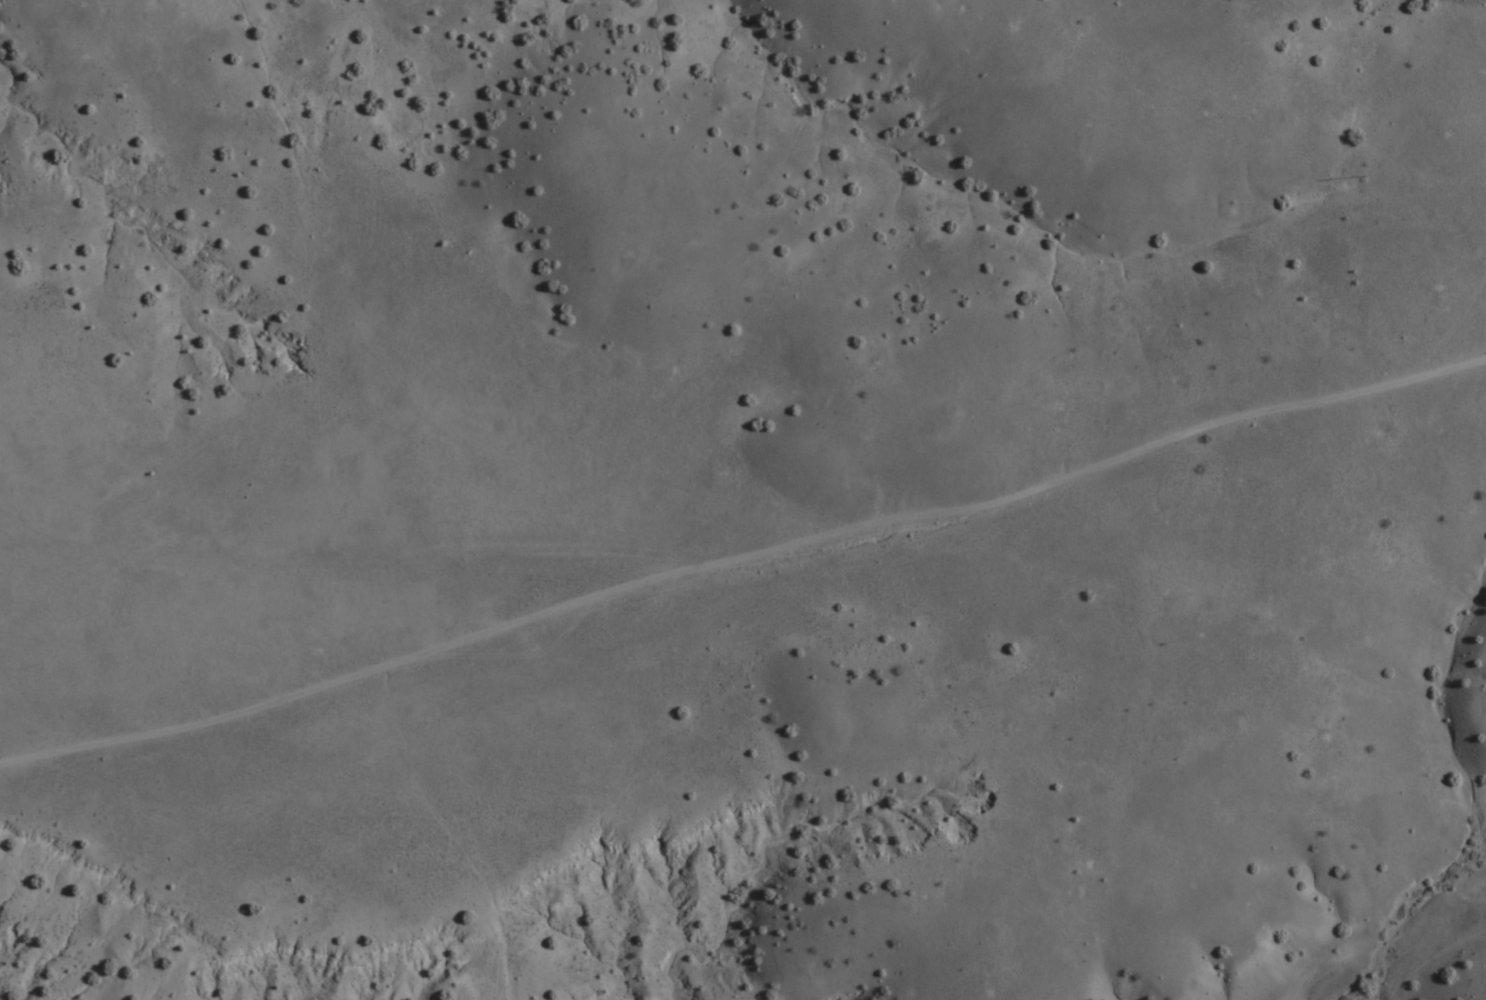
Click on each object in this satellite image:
road: (737, 572)

